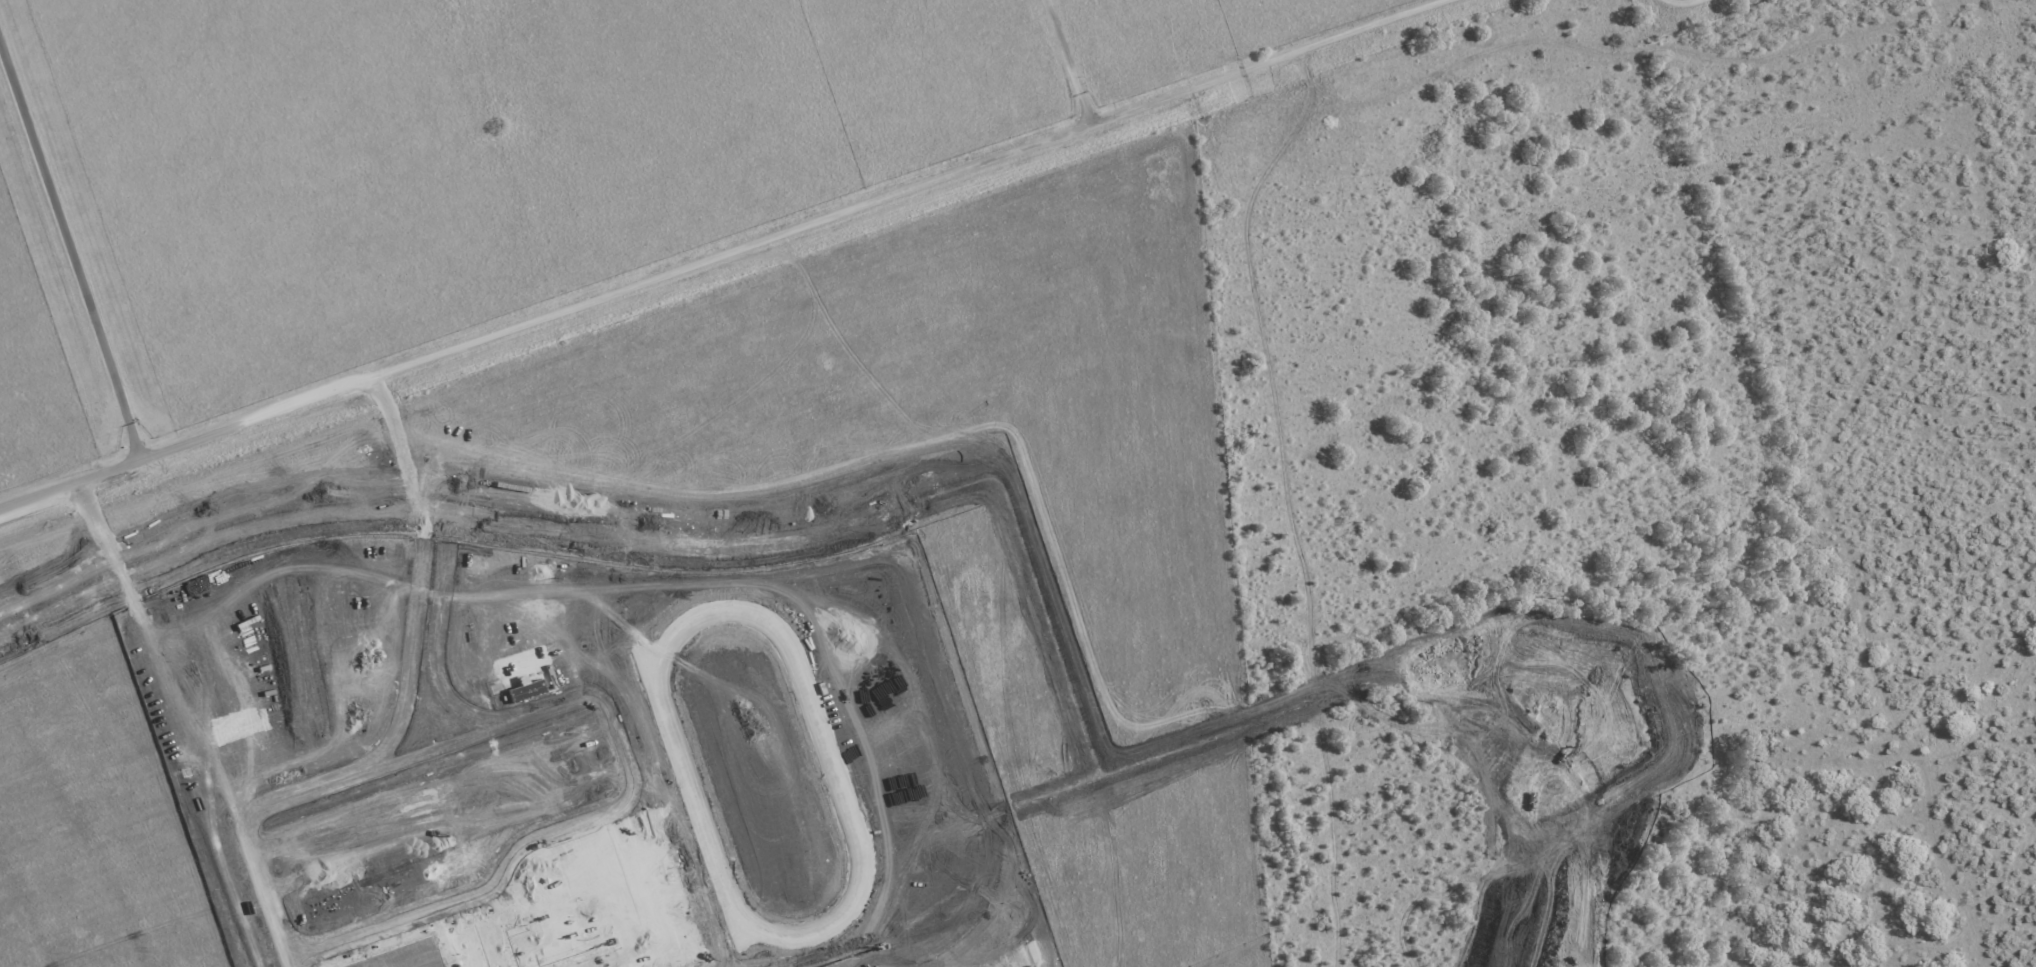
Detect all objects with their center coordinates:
road: (1640, 8)
road: (1076, 59)
road: (715, 251)
road: (72, 254)
road: (1860, 341)
road: (1659, 380)
road: (1050, 449)
road: (1970, 536)
road: (1328, 580)
road: (437, 628)
road: (411, 641)
road: (619, 744)
track: (831, 765)
road: (972, 765)
road: (1251, 849)
road: (1500, 863)
road: (1783, 880)
road: (268, 892)
building: (585, 910)
road: (1739, 933)
building: (405, 957)

